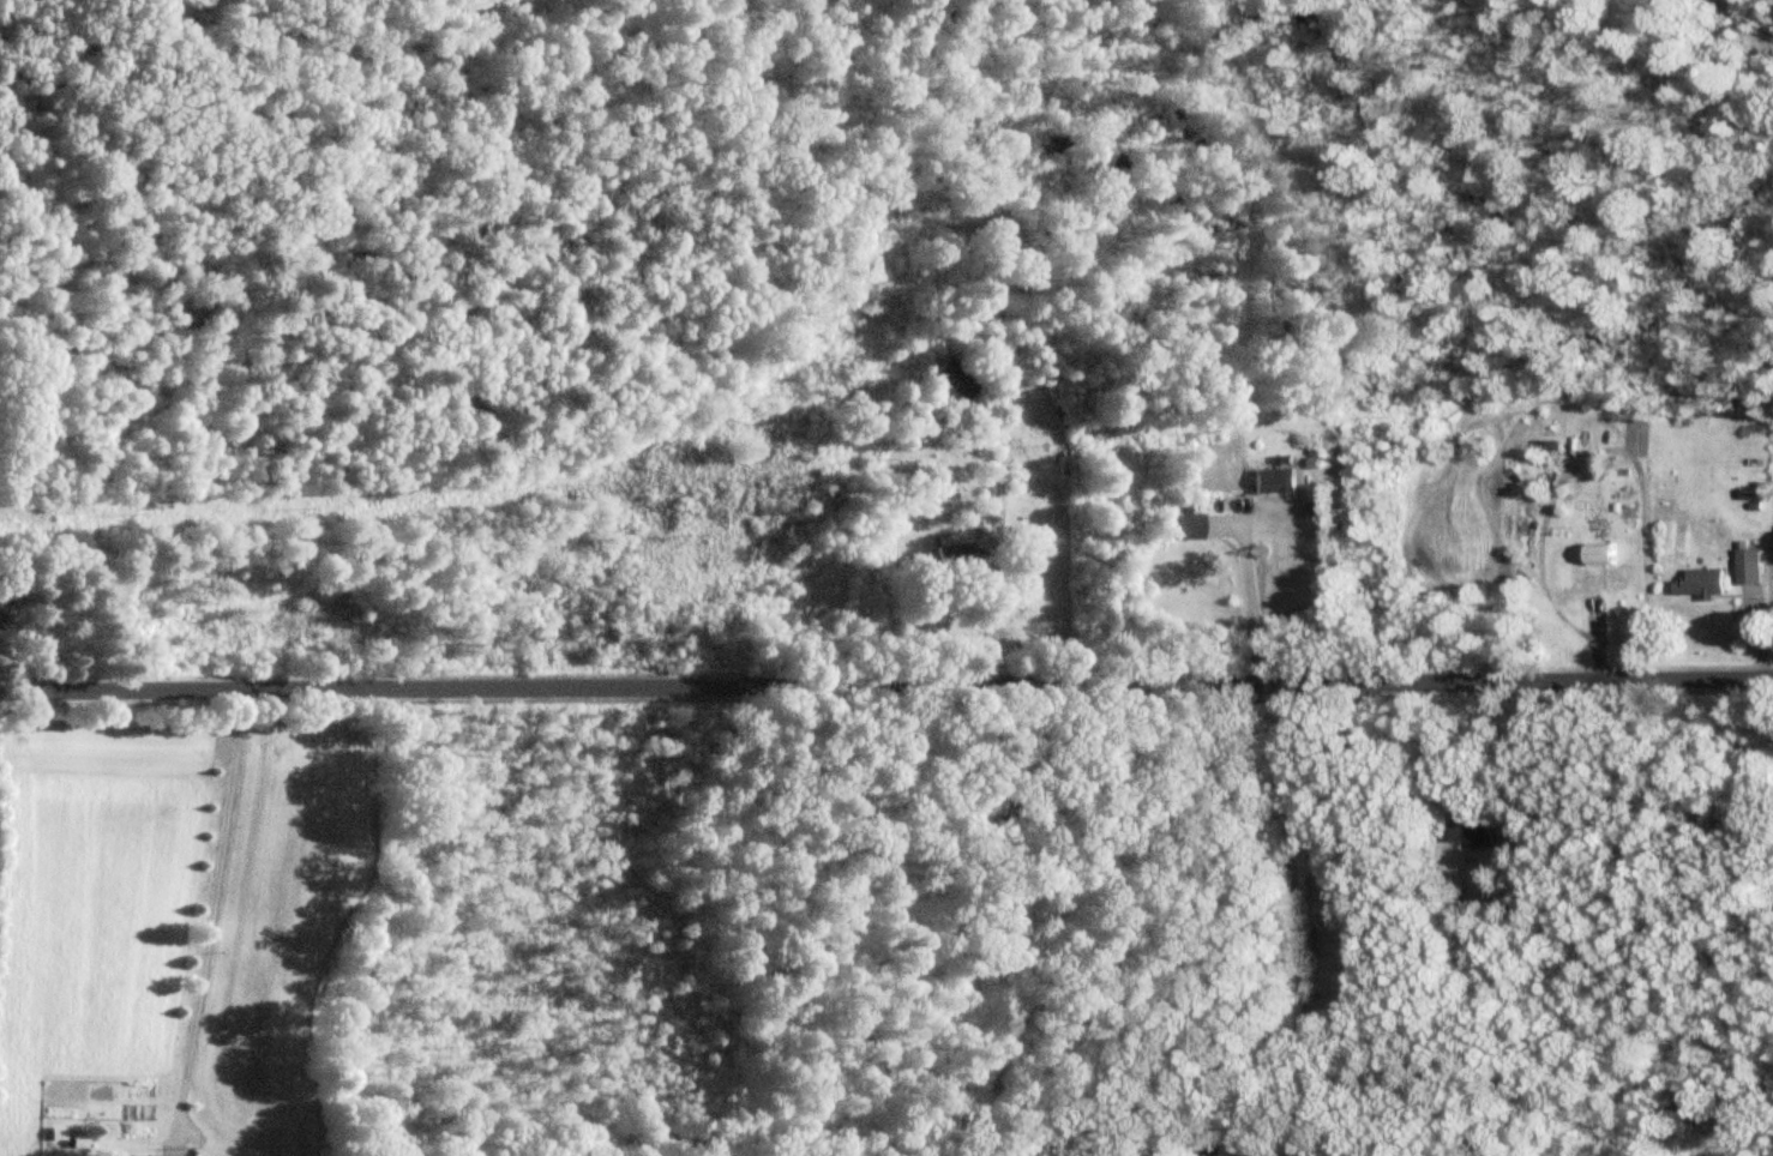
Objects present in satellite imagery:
building: (1547, 447)
building: (1272, 482)
road: (1068, 543)
building: (951, 556)
building: (1600, 556)
building: (1750, 568)
building: (1700, 584)
road: (1250, 596)
road: (886, 688)
road: (1515, 758)
building: (1471, 829)
road: (206, 914)
road: (1006, 917)
road: (1299, 931)
building: (1296, 1152)

